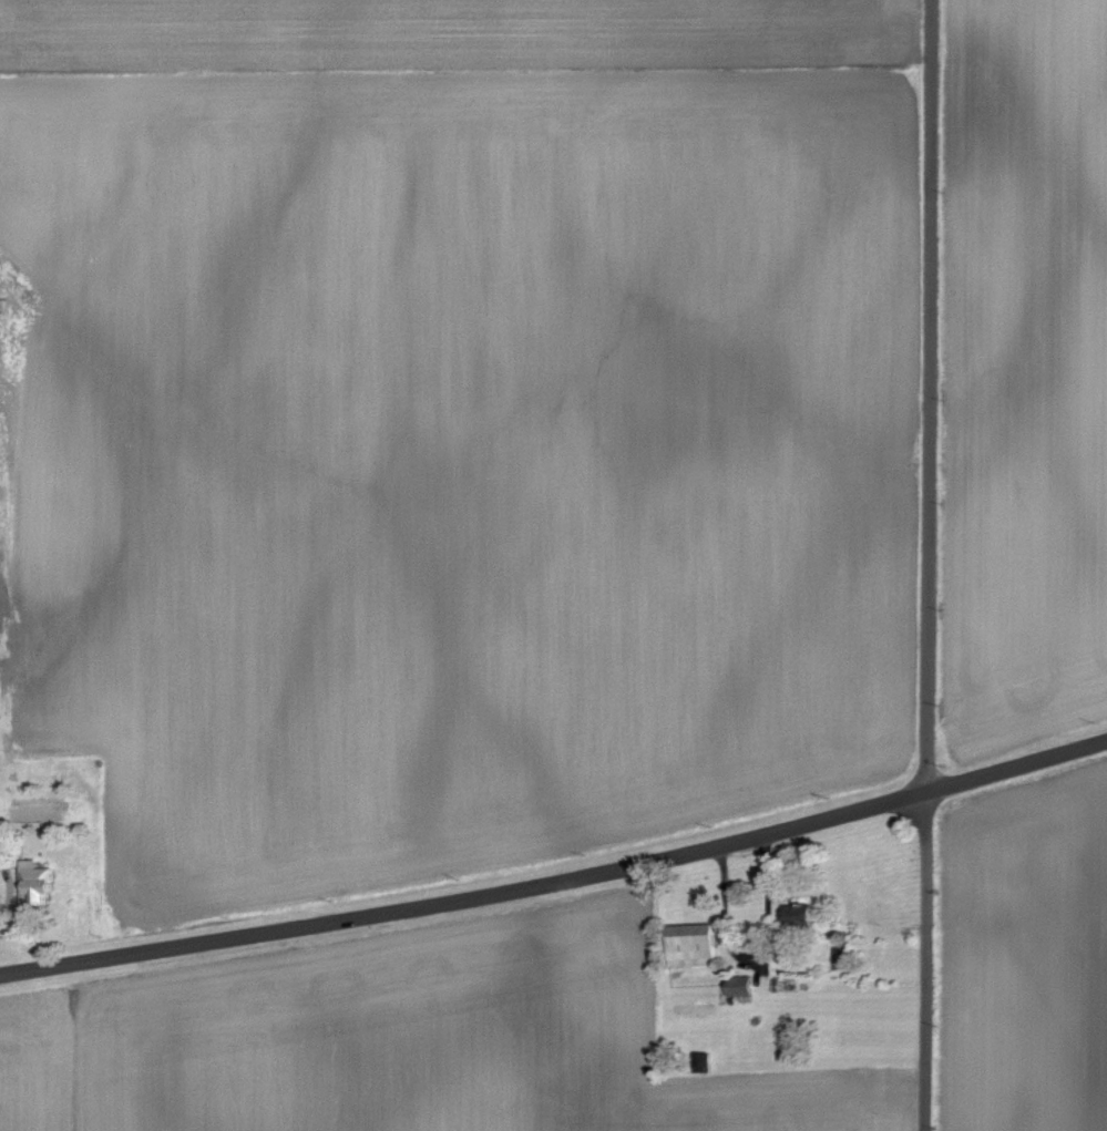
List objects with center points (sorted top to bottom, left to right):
road: (929, 565)
road: (558, 880)
building: (41, 883)
building: (697, 945)

